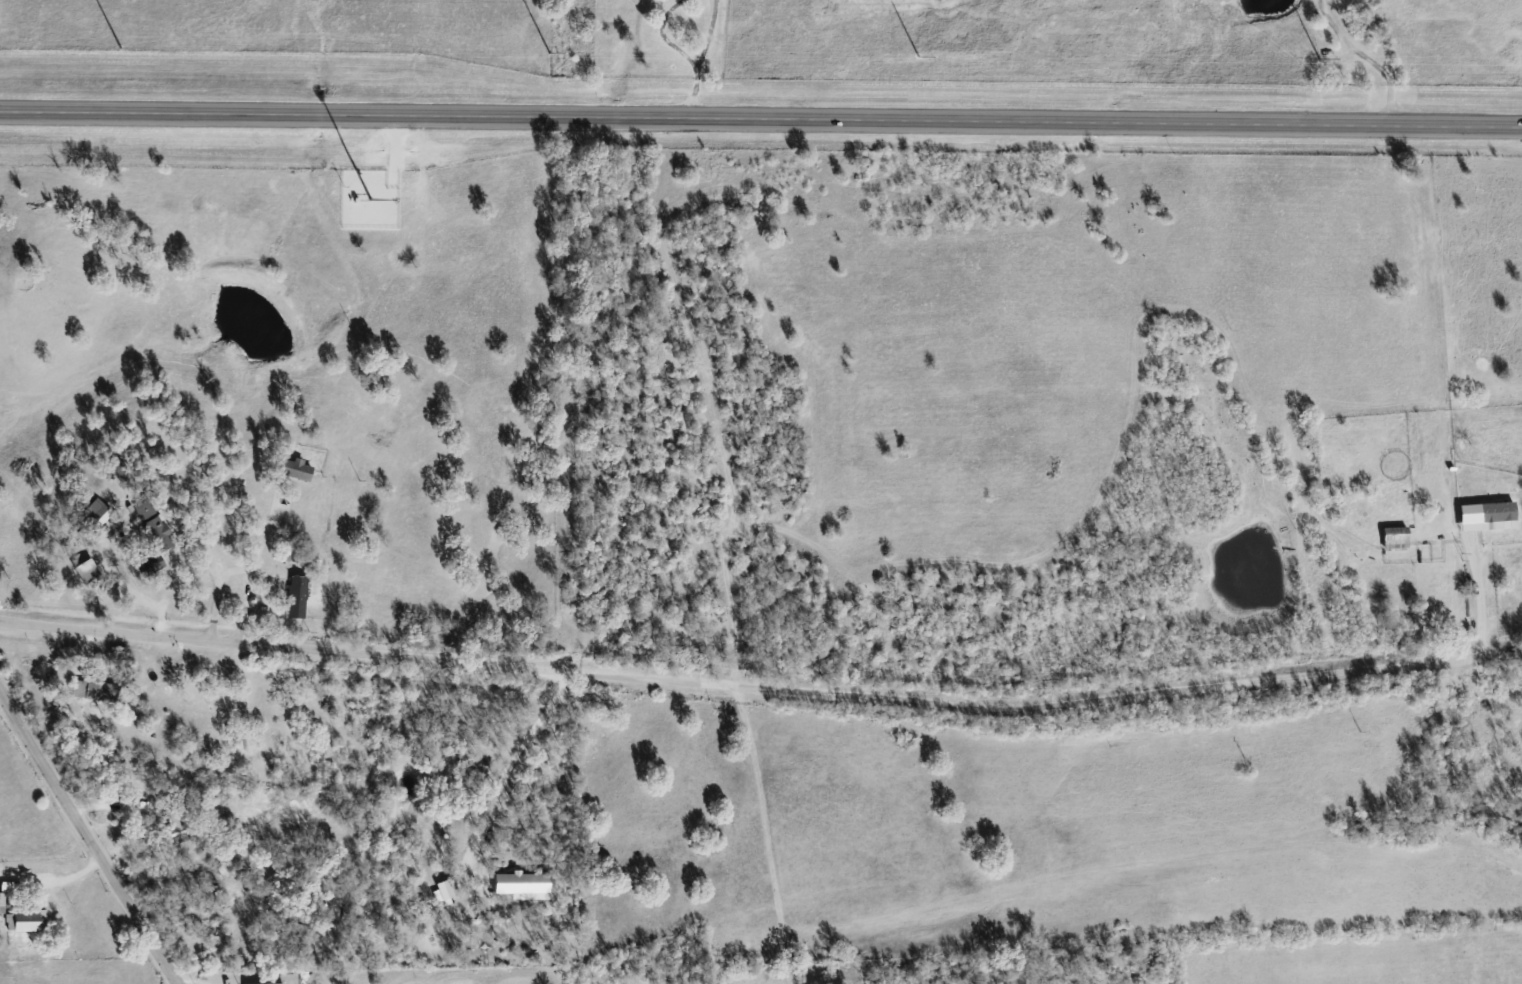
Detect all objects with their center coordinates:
road: (705, 33)
road: (658, 36)
power tower: (125, 50)
power tower: (552, 54)
power tower: (924, 57)
road: (1363, 60)
power tower: (1324, 62)
road: (688, 92)
road: (761, 120)
building: (292, 470)
building: (92, 511)
building: (1479, 516)
building: (1388, 537)
road: (258, 542)
road: (208, 559)
building: (81, 572)
building: (291, 597)
road: (1473, 600)
road: (244, 609)
road: (1510, 657)
road: (749, 687)
building: (93, 691)
road: (506, 767)
road: (117, 806)
road: (89, 838)
road: (65, 880)
building: (437, 891)
building: (18, 922)
building: (270, 983)

